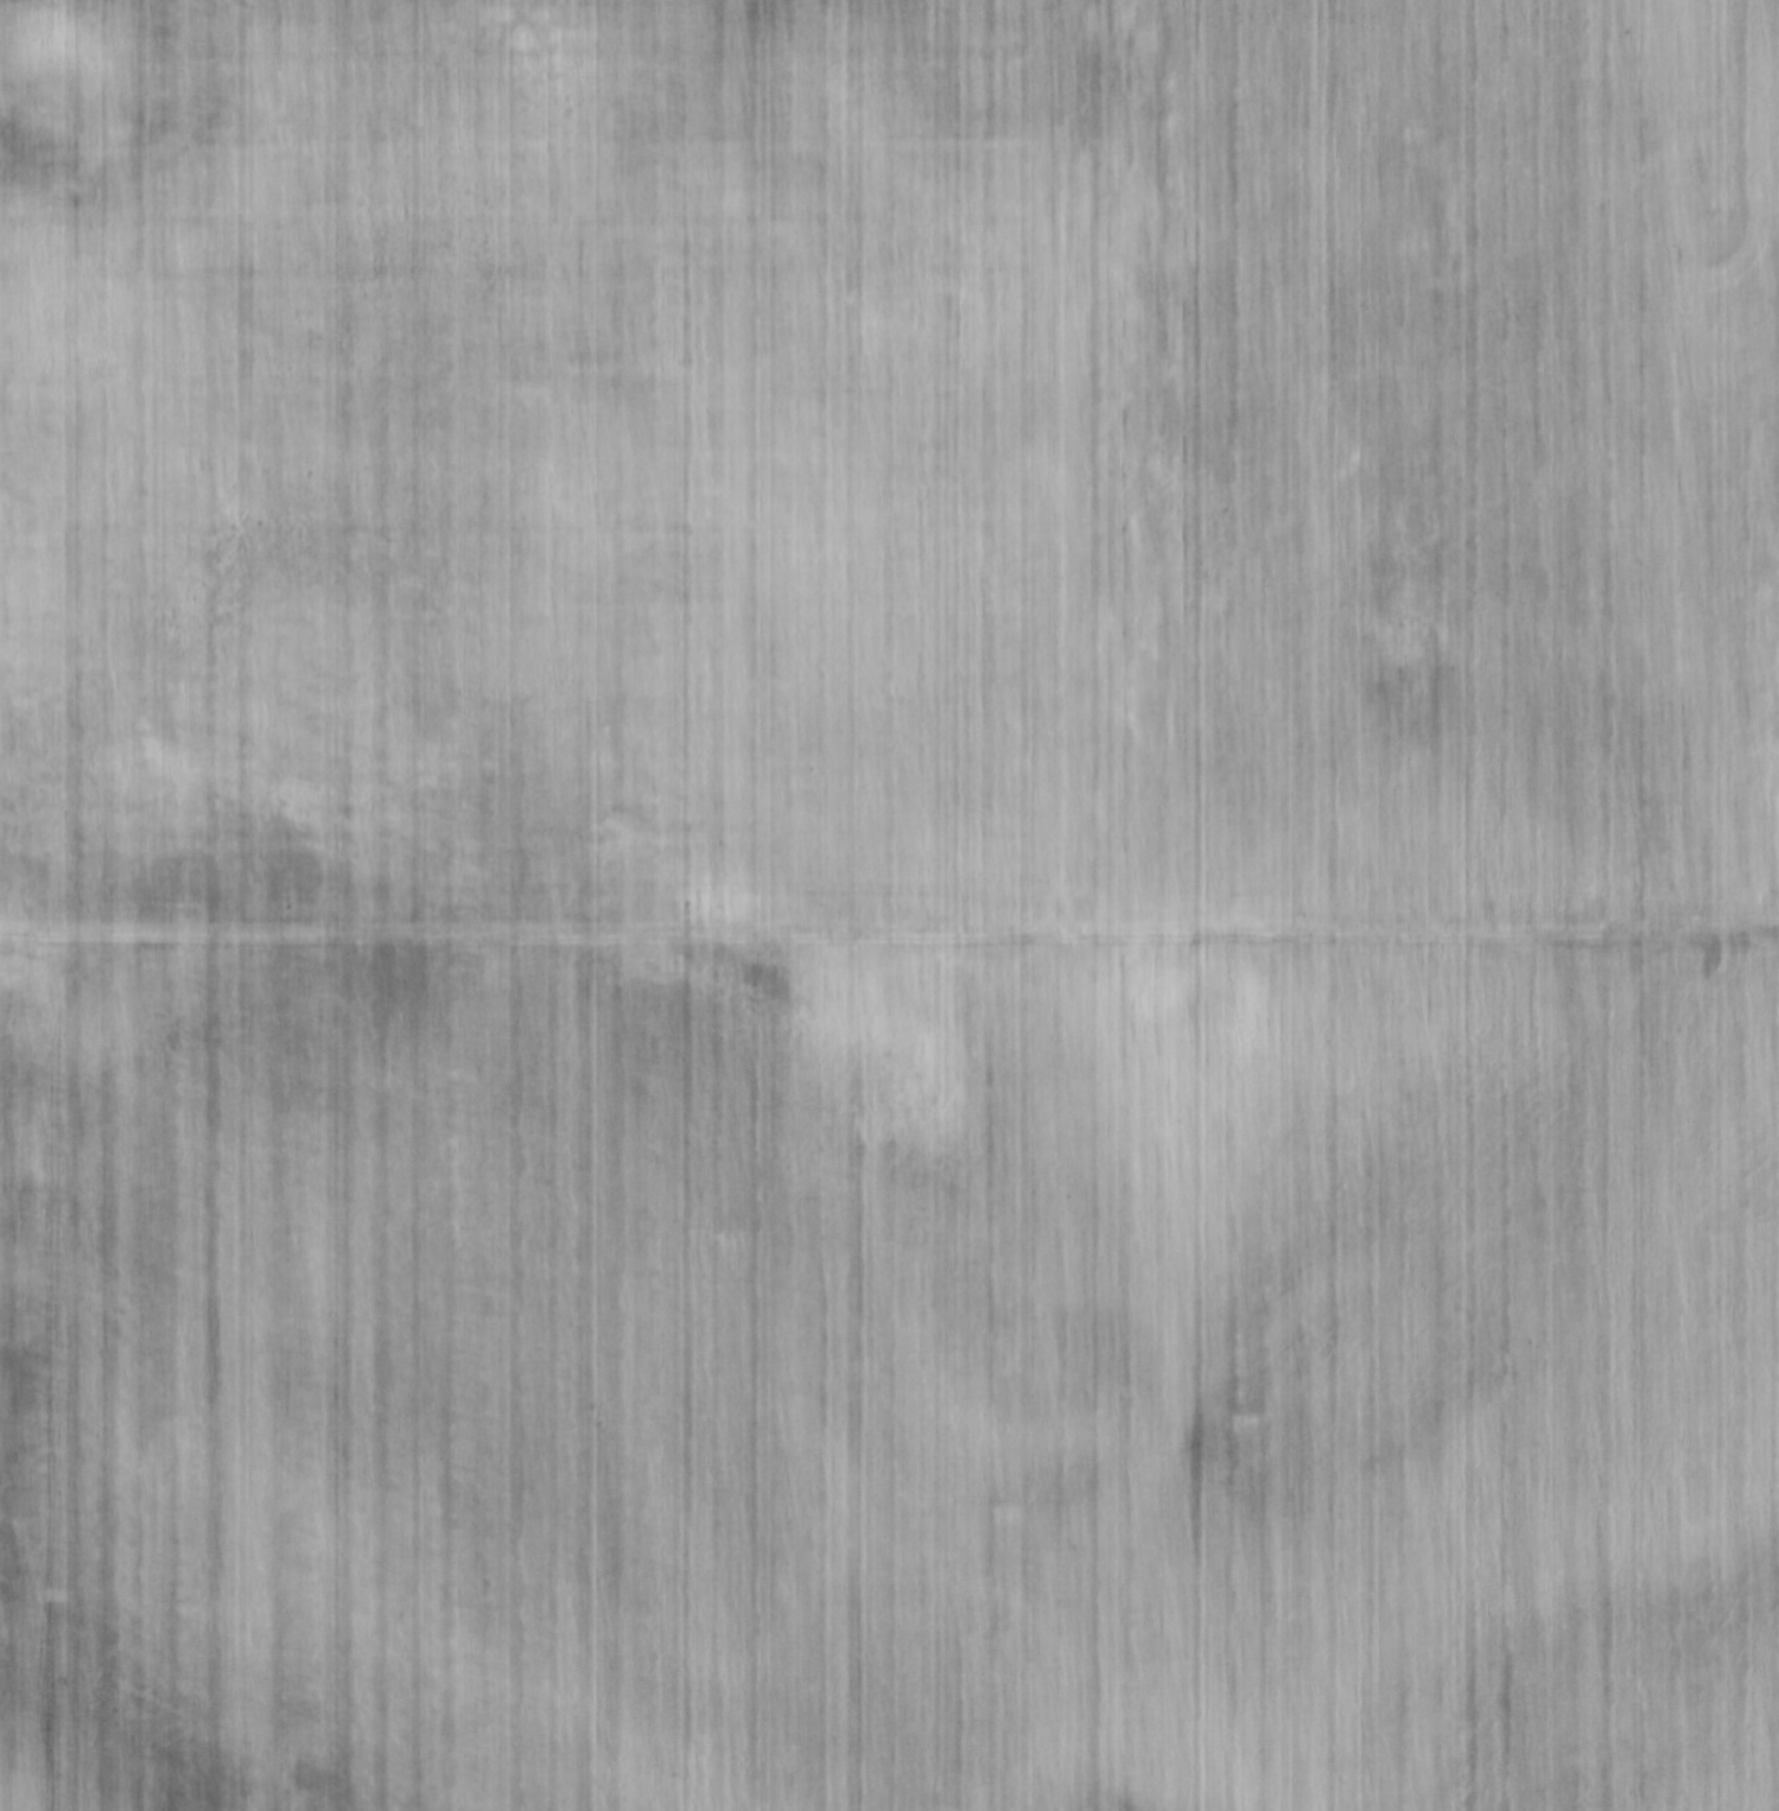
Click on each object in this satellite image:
road: (889, 941)

